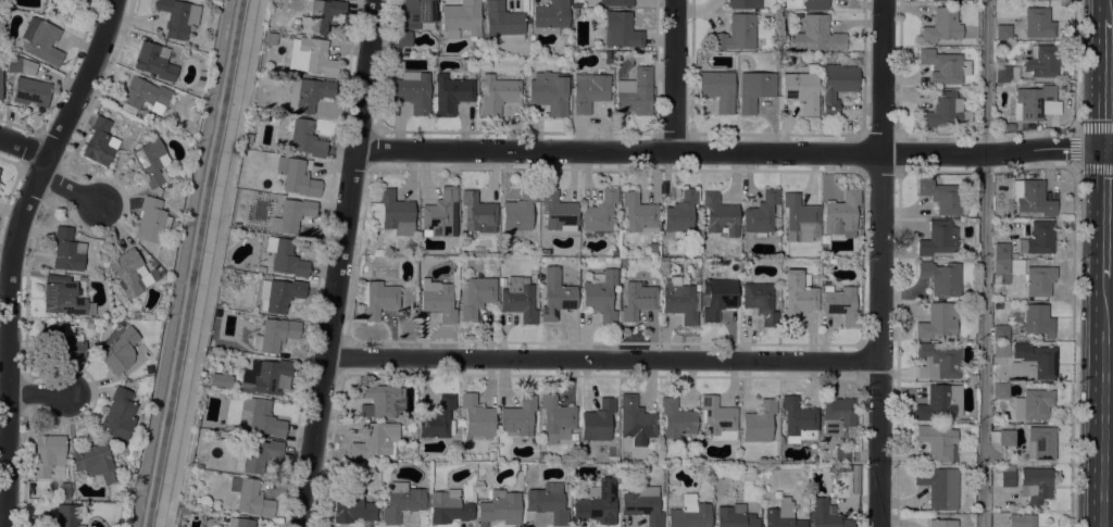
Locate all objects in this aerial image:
building: (78, 1)
building: (578, 2)
building: (615, 2)
building: (743, 3)
building: (815, 4)
building: (416, 12)
building: (574, 13)
road: (1104, 13)
building: (321, 15)
building: (177, 16)
building: (550, 16)
building: (461, 18)
building: (502, 23)
building: (1038, 23)
building: (942, 25)
building: (621, 30)
building: (736, 33)
building: (1003, 33)
building: (817, 35)
building: (270, 38)
building: (404, 38)
building: (41, 40)
building: (311, 57)
building: (154, 61)
building: (1041, 61)
building: (21, 65)
building: (943, 66)
building: (1006, 73)
road: (368, 76)
road: (677, 76)
building: (0, 78)
building: (199, 78)
building: (837, 86)
road: (1104, 87)
building: (589, 89)
building: (717, 89)
building: (801, 89)
building: (754, 90)
building: (412, 91)
building: (452, 91)
building: (32, 92)
building: (549, 92)
building: (635, 92)
building: (308, 93)
building: (498, 95)
building: (145, 96)
building: (1031, 102)
building: (945, 110)
building: (304, 137)
building: (100, 142)
road: (23, 147)
road: (736, 153)
building: (152, 162)
building: (296, 177)
road: (70, 189)
building: (941, 197)
building: (1031, 197)
road: (1103, 208)
building: (520, 210)
building: (600, 211)
building: (559, 212)
building: (392, 213)
building: (440, 213)
building: (478, 213)
building: (639, 213)
building: (679, 213)
building: (761, 214)
building: (841, 214)
building: (291, 215)
building: (720, 215)
building: (800, 215)
building: (150, 219)
building: (939, 239)
building: (1028, 241)
building: (825, 242)
building: (66, 249)
building: (696, 251)
building: (614, 252)
road: (12, 253)
building: (1015, 255)
building: (286, 256)
road: (215, 263)
road: (881, 263)
road: (983, 263)
building: (154, 264)
building: (260, 268)
building: (126, 272)
building: (1001, 273)
building: (941, 277)
building: (1038, 279)
building: (554, 293)
building: (278, 294)
building: (798, 294)
building: (63, 296)
building: (476, 296)
building: (601, 296)
building: (717, 297)
building: (377, 298)
building: (439, 298)
building: (517, 298)
building: (637, 300)
building: (679, 300)
building: (760, 301)
building: (841, 305)
building: (938, 319)
building: (1038, 319)
building: (1001, 332)
building: (275, 335)
building: (62, 340)
road: (332, 340)
building: (1001, 349)
building: (118, 351)
building: (214, 352)
road: (604, 360)
building: (937, 362)
building: (1036, 364)
building: (266, 376)
building: (970, 376)
building: (220, 379)
building: (1000, 390)
road: (38, 394)
road: (1100, 398)
building: (380, 400)
building: (939, 402)
building: (1034, 403)
building: (118, 414)
building: (837, 415)
building: (262, 416)
building: (476, 416)
building: (518, 416)
building: (556, 418)
building: (675, 418)
building: (439, 419)
building: (718, 419)
building: (798, 419)
building: (598, 421)
building: (636, 421)
building: (962, 421)
building: (759, 422)
building: (1006, 437)
building: (375, 440)
building: (938, 442)
building: (1040, 442)
building: (842, 453)
building: (49, 455)
building: (255, 455)
building: (96, 462)
building: (842, 467)
building: (830, 468)
building: (756, 470)
building: (854, 477)
building: (1008, 478)
building: (234, 484)
building: (1036, 484)
building: (938, 486)
building: (65, 489)
building: (253, 499)
building: (401, 501)
building: (549, 502)
building: (597, 502)
building: (643, 504)
building: (448, 506)
building: (500, 507)
building: (352, 510)
building: (689, 513)
building: (67, 515)
building: (781, 515)
building: (825, 515)
building: (735, 516)
building: (1022, 520)
building: (239, 522)
building: (942, 523)

